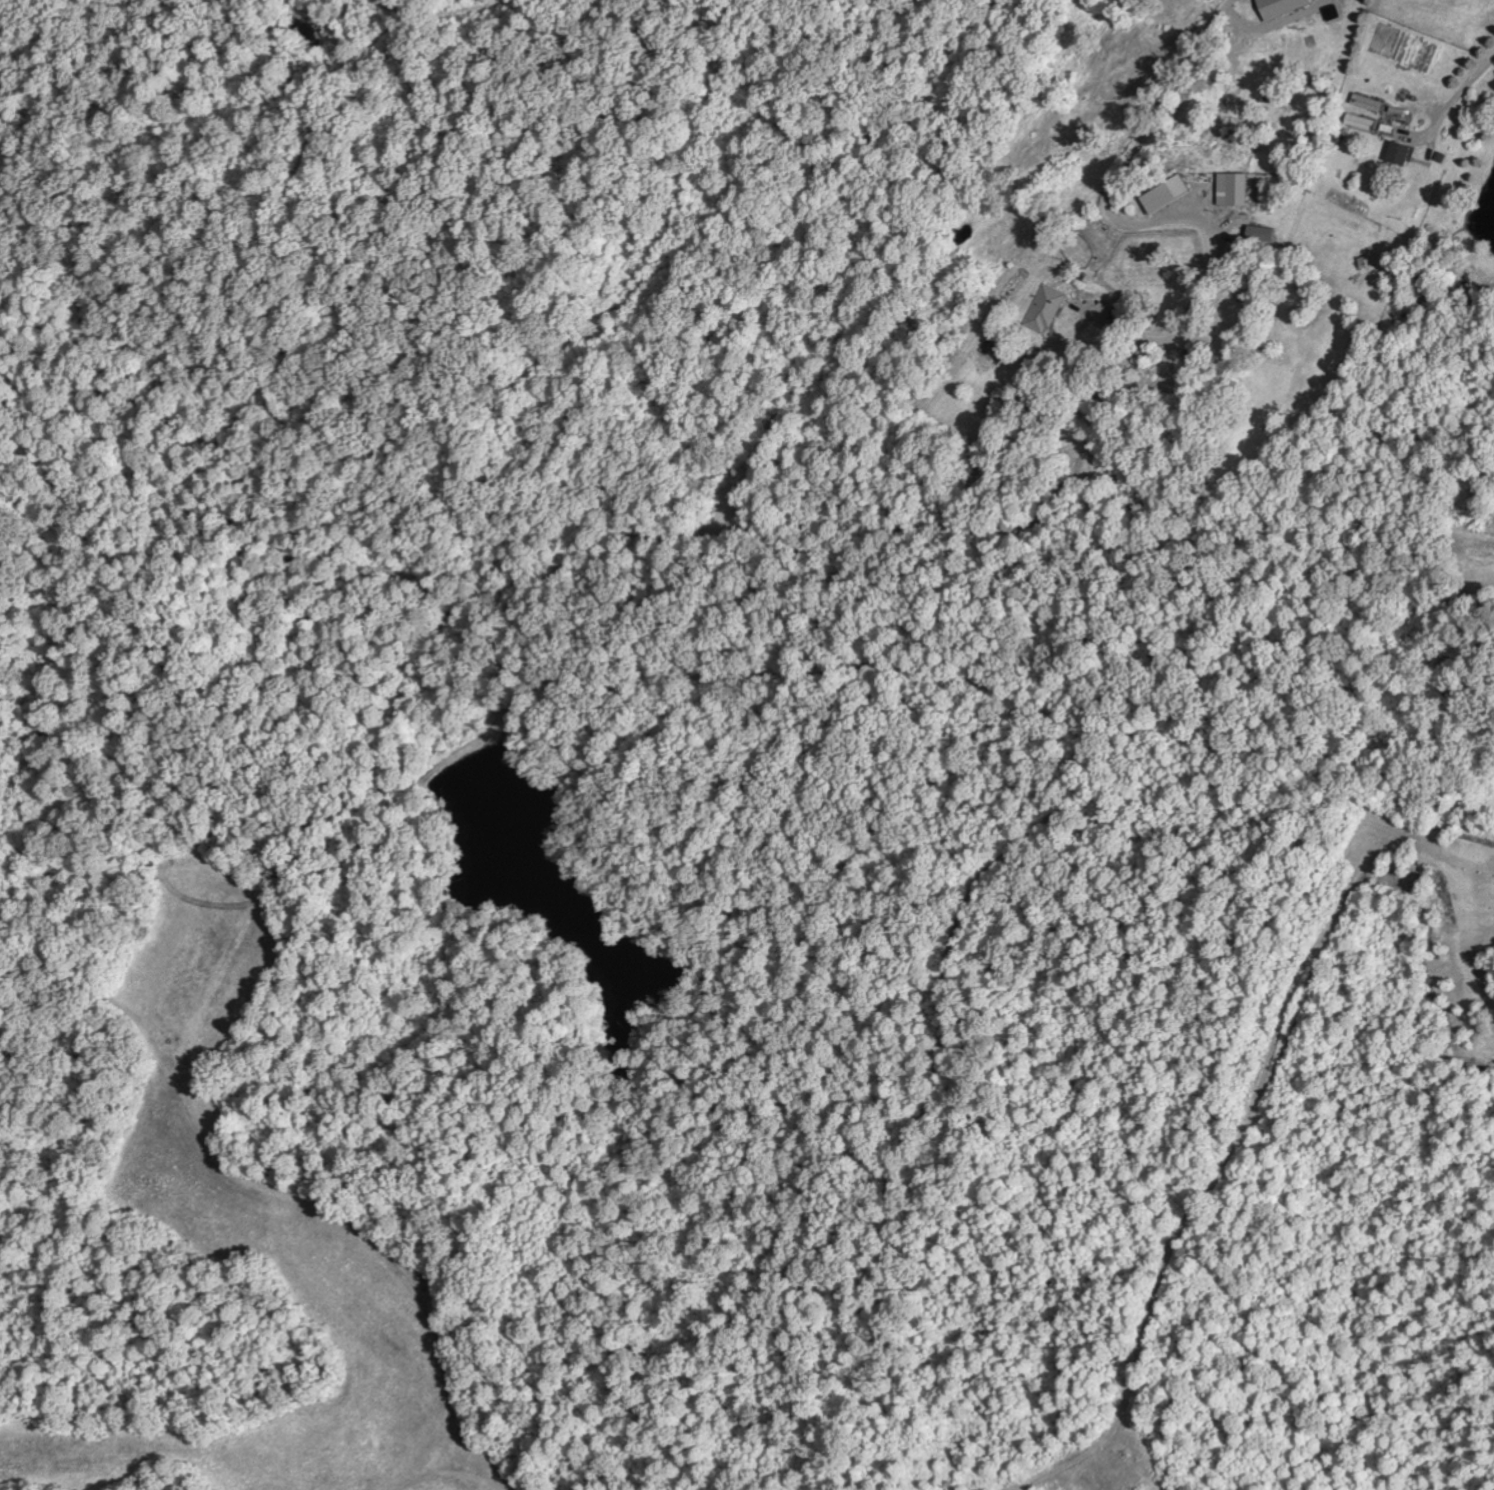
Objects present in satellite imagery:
building: (1278, 7)
road: (1156, 105)
road: (610, 109)
building: (1359, 121)
building: (1400, 154)
building: (1230, 189)
building: (1163, 194)
building: (1042, 311)
road: (248, 1154)

